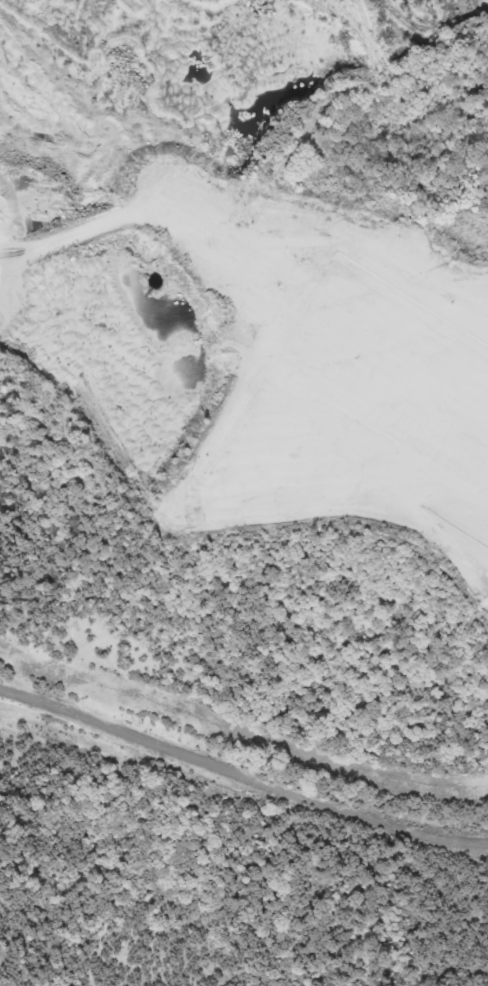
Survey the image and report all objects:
road: (239, 776)

